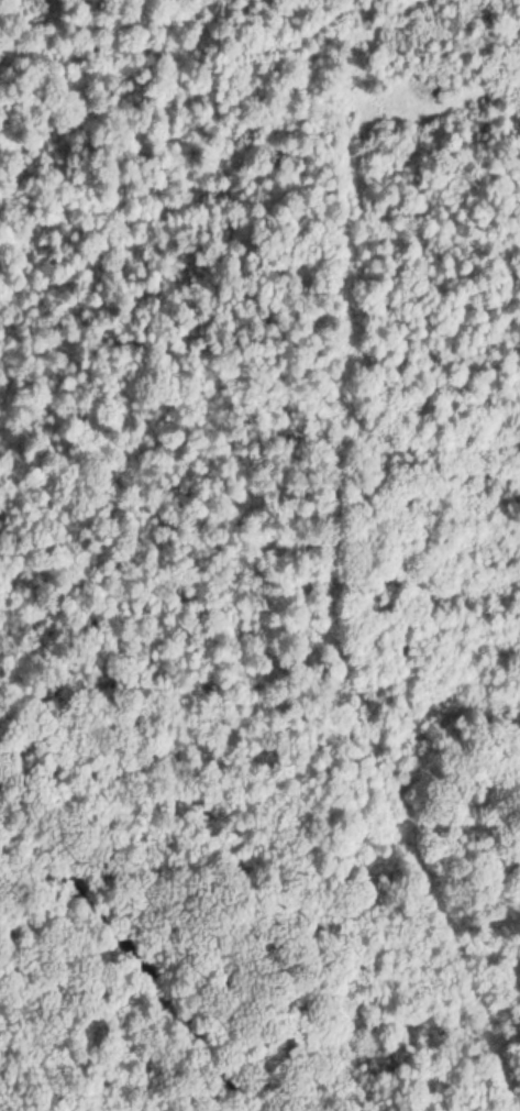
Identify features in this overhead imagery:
road: (118, 970)

